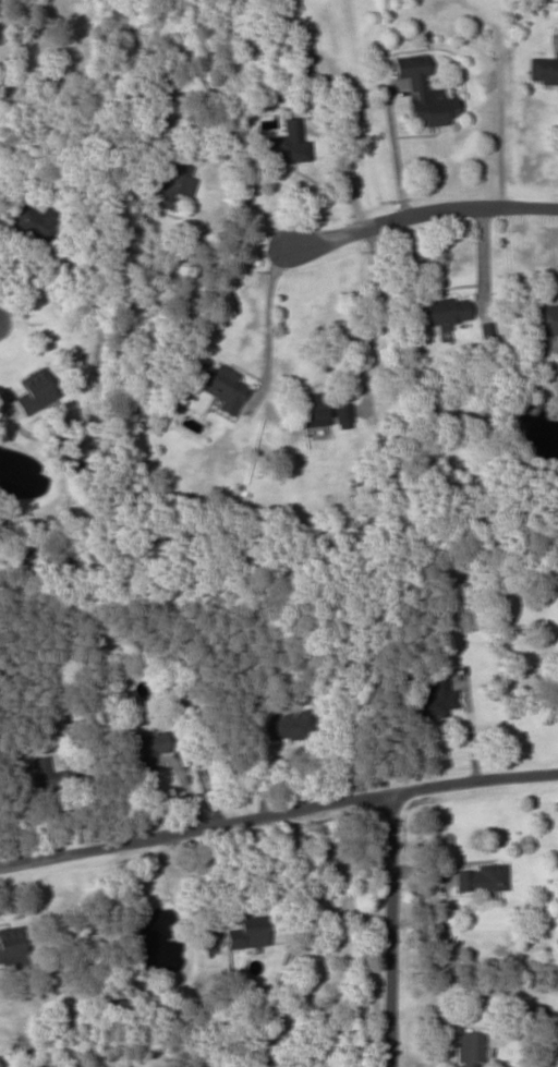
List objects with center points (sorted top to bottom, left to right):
building: (543, 70)
building: (424, 93)
building: (287, 144)
building: (169, 185)
road: (418, 210)
building: (35, 221)
building: (444, 311)
building: (546, 319)
building: (220, 385)
building: (33, 390)
building: (323, 412)
building: (434, 698)
building: (289, 726)
building: (149, 749)
building: (49, 776)
road: (277, 810)
building: (481, 878)
road: (380, 929)
building: (247, 933)
building: (11, 944)
building: (470, 1048)

